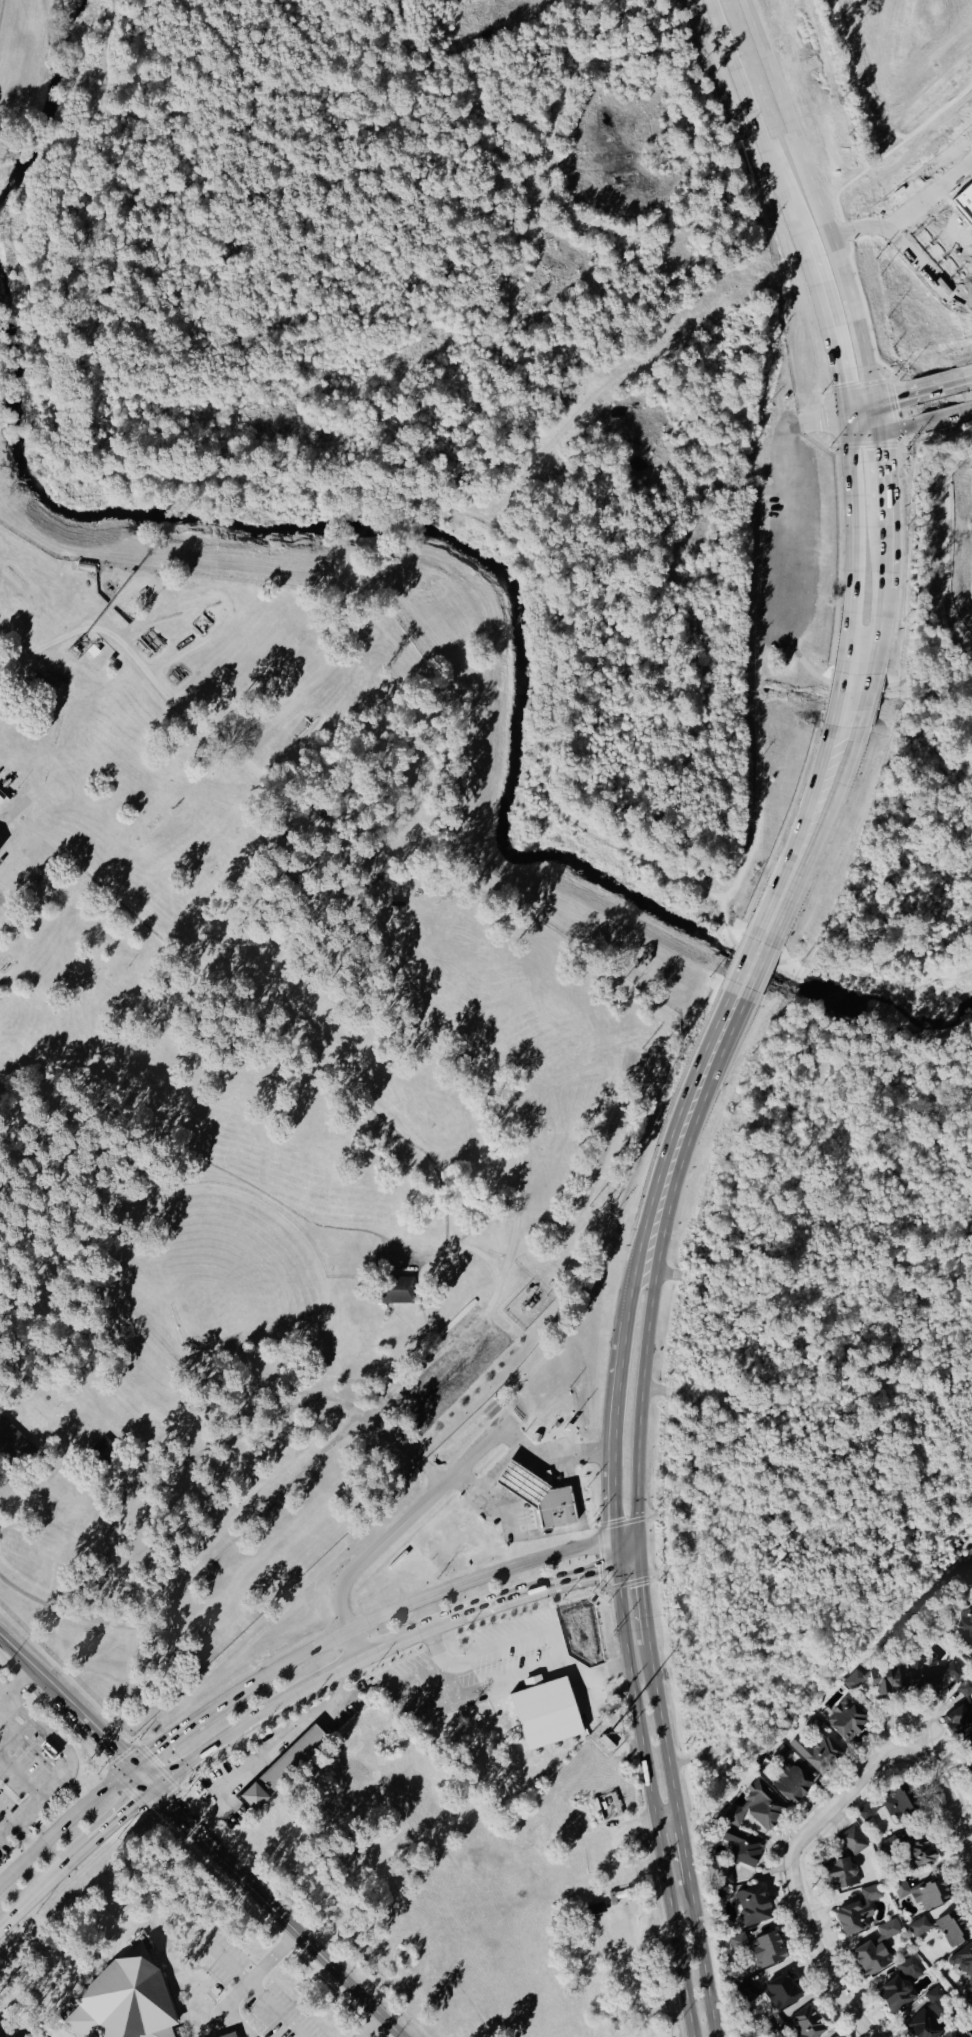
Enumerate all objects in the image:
road: (756, 121)
road: (817, 198)
road: (905, 252)
park: (465, 319)
road: (831, 328)
road: (923, 387)
road: (792, 400)
traffic signals: (876, 401)
road: (862, 409)
road: (877, 416)
traffic signals: (849, 418)
road: (823, 420)
road: (910, 430)
traffic signals: (879, 432)
road: (710, 470)
road: (881, 472)
road: (790, 489)
river: (415, 525)
parking lot: (789, 537)
road: (856, 546)
road: (884, 550)
road: (882, 611)
road: (877, 655)
road: (839, 701)
road: (867, 702)
road: (800, 835)
road: (817, 838)
road: (747, 961)
road: (762, 969)
road: (391, 1019)
road: (659, 1179)
road: (661, 1254)
building: (392, 1292)
road: (614, 1421)
road: (551, 1459)
road: (488, 1475)
road: (614, 1497)
building: (537, 1498)
road: (395, 1528)
road: (545, 1529)
traffic signals: (638, 1533)
road: (626, 1535)
traffic signals: (615, 1538)
road: (638, 1547)
traffic signals: (639, 1561)
road: (627, 1564)
traffic signals: (616, 1567)
building: (971, 1580)
road: (103, 1595)
road: (643, 1596)
road: (495, 1602)
road: (397, 1607)
road: (52, 1608)
building: (966, 1629)
road: (500, 1642)
road: (442, 1661)
parking lot: (472, 1668)
road: (594, 1672)
building: (900, 1679)
road: (15, 1680)
road: (589, 1689)
building: (966, 1690)
parking lot: (586, 1694)
building: (545, 1710)
road: (263, 1715)
building: (846, 1720)
road: (662, 1723)
building: (957, 1724)
road: (885, 1729)
road: (918, 1731)
road: (163, 1742)
road: (244, 1750)
road: (272, 1754)
building: (820, 1755)
traffic signals: (129, 1765)
building: (281, 1770)
building: (792, 1786)
traffic signals: (151, 1787)
road: (650, 1787)
road: (843, 1796)
road: (948, 1804)
building: (885, 1806)
building: (756, 1809)
road: (121, 1813)
road: (667, 1817)
road: (63, 1824)
road: (18, 1832)
road: (200, 1836)
road: (967, 1845)
road: (683, 1846)
building: (740, 1848)
building: (915, 1850)
building: (843, 1862)
road: (45, 1883)
building: (921, 1894)
building: (751, 1907)
building: (857, 1913)
building: (950, 1930)
road: (813, 1949)
building: (759, 1950)
road: (702, 1957)
building: (869, 1960)
road: (229, 1961)
building: (962, 1963)
road: (253, 1984)
building: (899, 1987)
building: (780, 1991)
building: (120, 1999)
road: (227, 2009)
building: (929, 2016)
building: (806, 2023)
road: (370, 2026)
building: (222, 2034)
building: (1, 2035)

